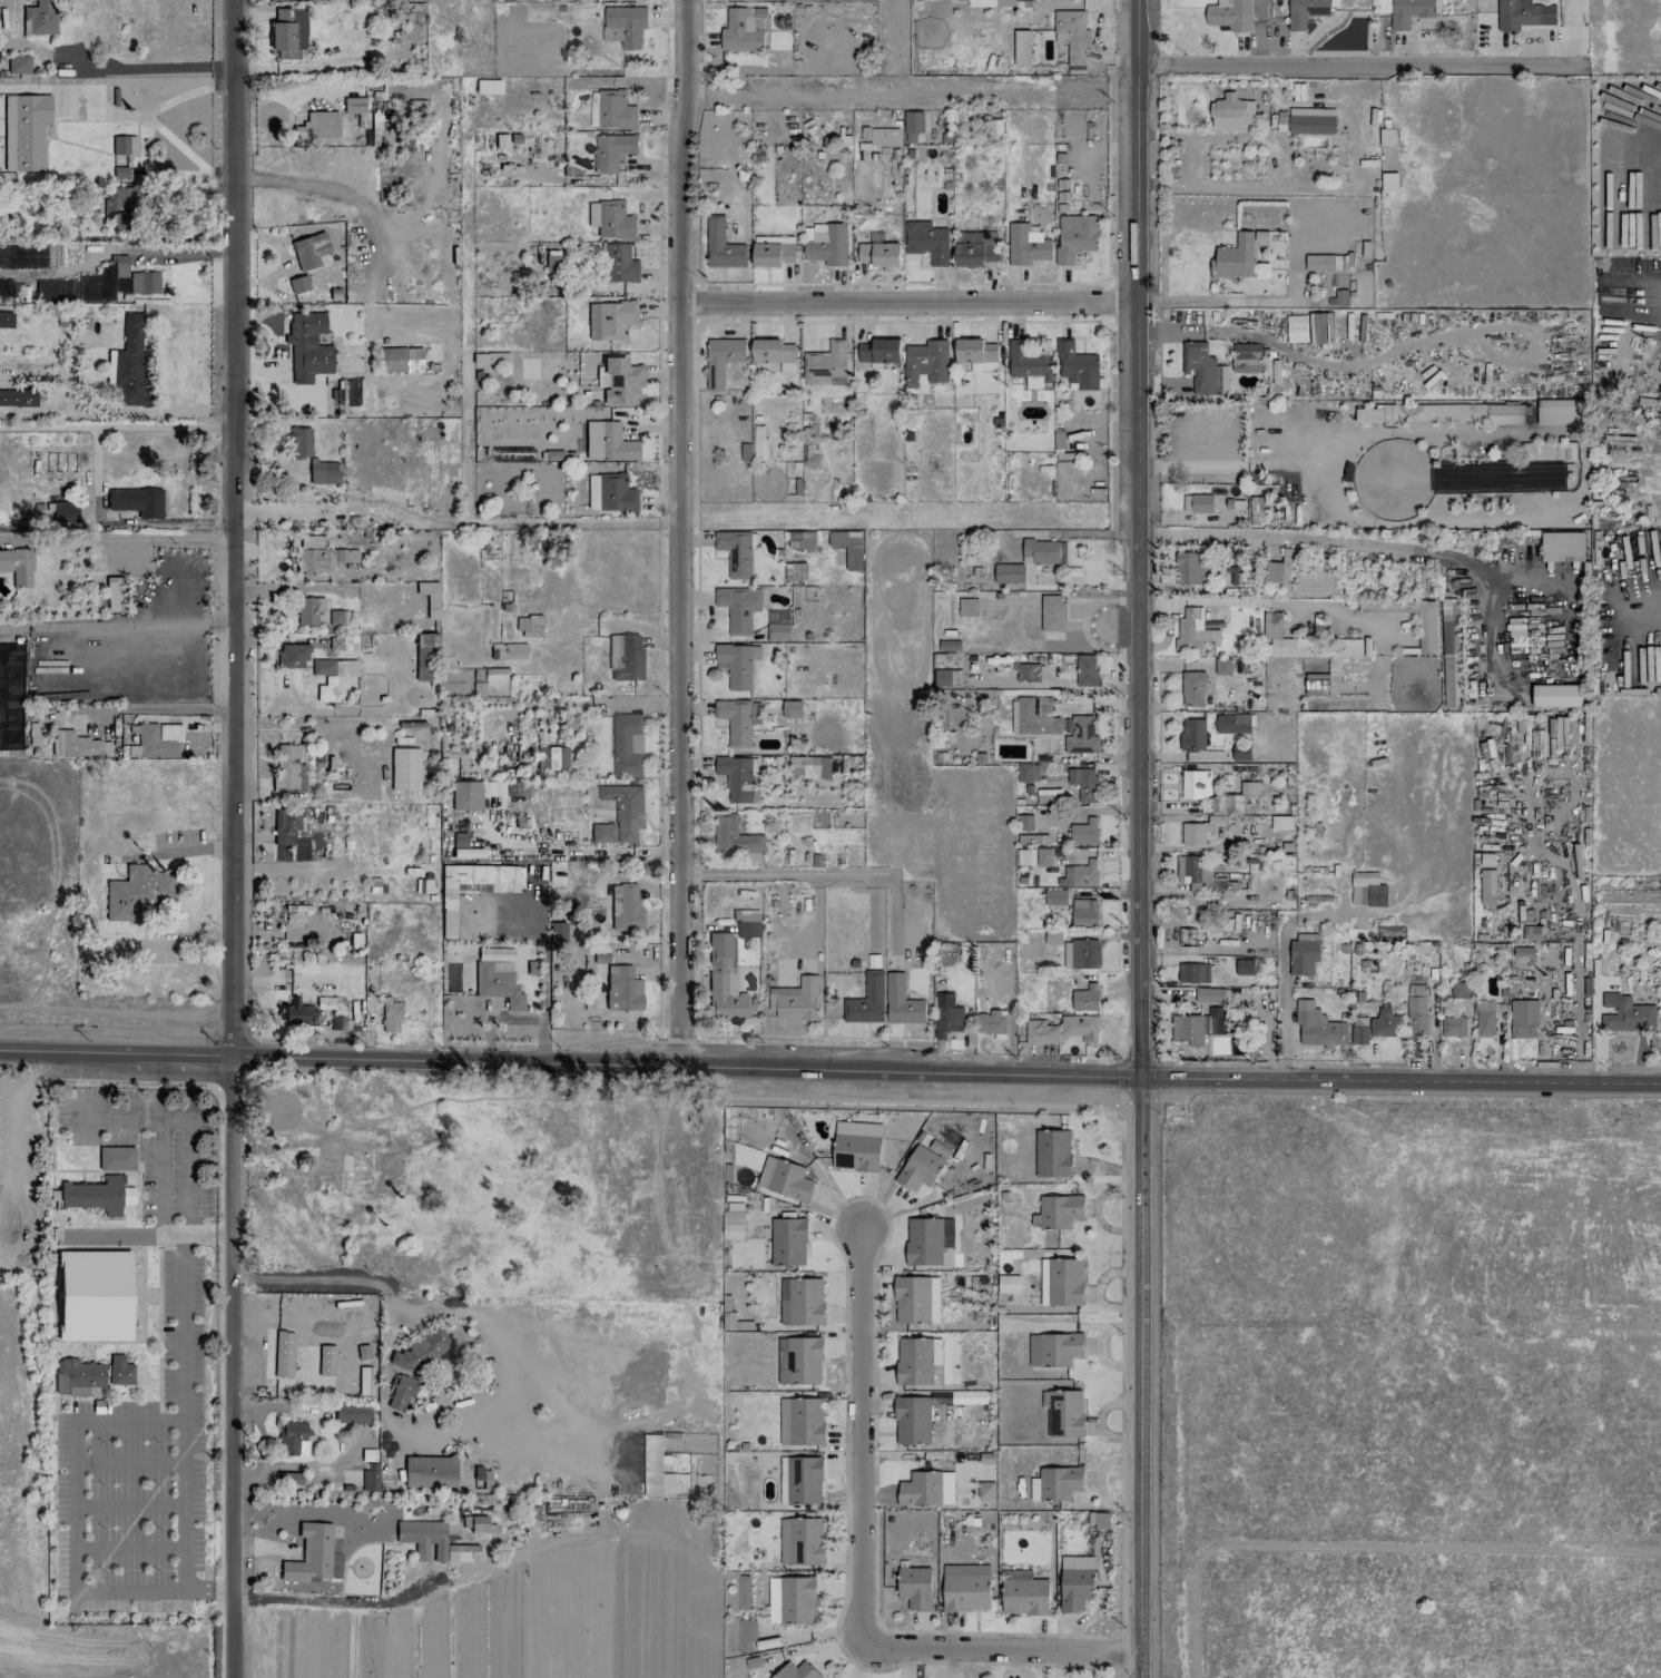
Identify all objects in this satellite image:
building: (1008, 2)
building: (1305, 12)
building: (1409, 12)
building: (1526, 14)
building: (1229, 16)
building: (39, 18)
building: (625, 26)
building: (285, 29)
building: (743, 29)
building: (1072, 38)
building: (1022, 48)
building: (18, 65)
road: (121, 65)
road: (1355, 67)
building: (486, 86)
building: (353, 105)
building: (615, 110)
building: (1231, 114)
building: (1281, 120)
building: (1311, 120)
building: (913, 125)
building: (313, 126)
building: (24, 131)
building: (878, 136)
road: (1190, 136)
building: (124, 145)
building: (612, 151)
road: (1647, 164)
building: (120, 166)
building: (1389, 181)
building: (118, 207)
building: (610, 219)
building: (1075, 237)
building: (926, 241)
building: (827, 244)
building: (721, 245)
building: (1025, 245)
building: (975, 248)
building: (308, 251)
building: (773, 251)
building: (879, 254)
building: (1232, 256)
building: (18, 257)
building: (551, 263)
building: (619, 264)
building: (98, 284)
building: (298, 284)
building: (6, 287)
road: (1242, 302)
road: (907, 304)
road: (1655, 307)
building: (6, 320)
building: (609, 320)
building: (1318, 327)
building: (1297, 332)
building: (307, 343)
building: (879, 351)
building: (975, 351)
building: (775, 354)
building: (490, 357)
building: (1246, 357)
building: (723, 359)
building: (925, 362)
building: (1029, 362)
building: (130, 363)
building: (826, 365)
building: (1077, 365)
building: (1203, 370)
building: (619, 380)
building: (18, 398)
building: (1441, 413)
building: (1562, 415)
road: (116, 428)
building: (759, 441)
building: (299, 442)
building: (607, 442)
building: (1551, 451)
building: (323, 472)
building: (1498, 478)
building: (609, 493)
building: (136, 501)
building: (1197, 503)
building: (63, 512)
road: (679, 529)
road: (116, 536)
road: (1200, 536)
road: (1375, 544)
building: (1562, 547)
building: (736, 551)
building: (1044, 551)
building: (318, 555)
building: (4, 560)
building: (22, 567)
building: (1009, 573)
building: (1229, 576)
building: (1298, 578)
building: (115, 593)
building: (429, 598)
road: (1643, 606)
building: (967, 607)
building: (738, 608)
building: (308, 610)
building: (1051, 612)
building: (336, 617)
building: (775, 618)
building: (529, 626)
building: (1272, 626)
road: (116, 629)
building: (1193, 630)
building: (778, 632)
building: (1426, 632)
building: (348, 641)
building: (1316, 650)
building: (423, 654)
building: (1451, 654)
building: (292, 655)
building: (625, 657)
building: (738, 664)
building: (333, 667)
building: (1222, 667)
building: (1087, 670)
building: (1026, 673)
building: (1316, 685)
building: (1192, 689)
building: (1556, 696)
building: (10, 698)
road: (158, 709)
building: (738, 720)
building: (1081, 735)
building: (1192, 735)
building: (157, 738)
building: (627, 745)
building: (1240, 752)
building: (557, 758)
building: (810, 766)
building: (404, 768)
building: (287, 771)
building: (1028, 773)
building: (739, 778)
building: (1083, 783)
building: (1195, 784)
building: (500, 788)
building: (465, 795)
building: (1234, 798)
building: (620, 815)
building: (1281, 822)
building: (285, 824)
building: (1198, 831)
building: (1083, 833)
building: (734, 836)
road: (1139, 837)
road: (232, 838)
building: (1026, 840)
building: (1025, 857)
building: (1044, 857)
road: (784, 874)
building: (1079, 874)
building: (1199, 874)
building: (1486, 887)
building: (1367, 890)
building: (138, 892)
building: (1055, 896)
building: (627, 909)
building: (448, 910)
building: (1083, 913)
building: (746, 922)
building: (1052, 938)
building: (1084, 954)
building: (1303, 954)
building: (1244, 966)
building: (1192, 973)
building: (724, 981)
building: (498, 982)
building: (622, 989)
building: (1459, 990)
building: (1209, 994)
building: (1085, 998)
building: (798, 1000)
building: (866, 1001)
building: (901, 1002)
road: (1576, 1009)
building: (1416, 1010)
building: (296, 1013)
building: (390, 1015)
building: (946, 1015)
building: (1629, 1017)
building: (1484, 1018)
building: (1523, 1019)
building: (336, 1020)
building: (1216, 1020)
building: (991, 1022)
building: (1385, 1023)
building: (1318, 1027)
building: (1453, 1027)
building: (1080, 1028)
building: (1189, 1029)
building: (1359, 1031)
road: (827, 1062)
building: (856, 1146)
building: (1052, 1154)
building: (116, 1158)
building: (920, 1168)
building: (785, 1178)
building: (98, 1195)
building: (1059, 1211)
building: (733, 1225)
building: (927, 1239)
building: (788, 1242)
building: (1061, 1282)
building: (1008, 1284)
building: (95, 1295)
building: (916, 1299)
building: (802, 1302)
road: (434, 1307)
building: (729, 1321)
parking lot: (179, 1323)
building: (421, 1350)
building: (1053, 1350)
building: (283, 1354)
building: (917, 1360)
building: (326, 1361)
building: (799, 1361)
building: (119, 1371)
building: (77, 1376)
building: (364, 1378)
building: (401, 1392)
road: (183, 1411)
building: (352, 1413)
building: (1072, 1413)
building: (914, 1420)
building: (800, 1422)
road: (258, 1427)
road: (859, 1435)
building: (293, 1439)
road: (294, 1468)
building: (430, 1471)
building: (370, 1476)
road: (875, 1479)
building: (804, 1481)
building: (1055, 1483)
building: (926, 1489)
building: (985, 1491)
road: (72, 1503)
building: (1098, 1520)
building: (475, 1523)
building: (434, 1540)
building: (802, 1541)
road: (479, 1571)
building: (1075, 1582)
building: (915, 1587)
building: (966, 1591)
building: (741, 1592)
building: (1023, 1593)
building: (792, 1600)
road: (843, 1605)
crop: (515, 1623)
building: (745, 1633)
road: (1000, 1648)
road: (1122, 1652)
building: (797, 1671)

